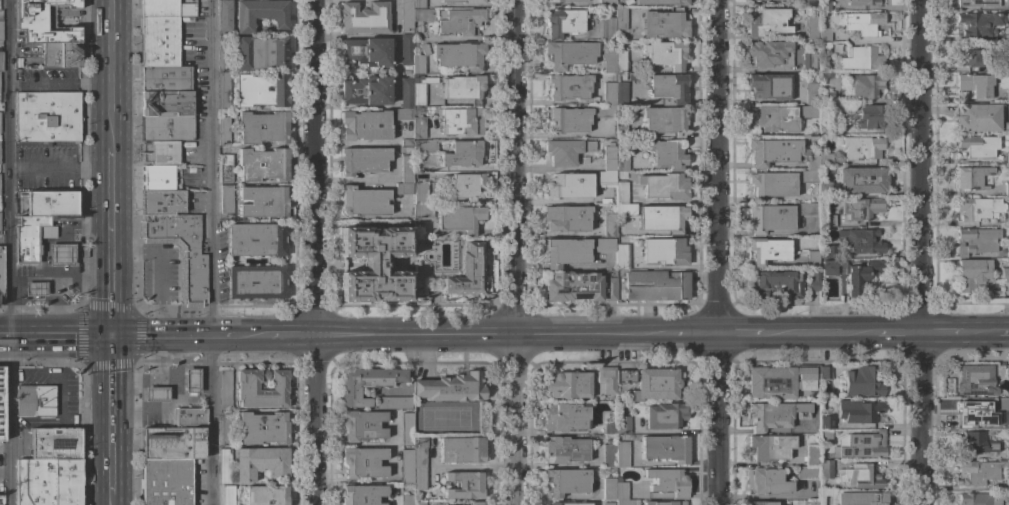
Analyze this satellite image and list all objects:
building: (621, 0)
building: (756, 0)
building: (465, 1)
building: (565, 1)
building: (660, 2)
building: (863, 2)
road: (557, 3)
building: (607, 3)
building: (811, 3)
building: (977, 3)
building: (418, 4)
building: (824, 5)
building: (166, 8)
building: (259, 14)
building: (413, 14)
building: (225, 15)
building: (364, 18)
building: (621, 18)
building: (47, 21)
building: (460, 22)
building: (563, 22)
building: (766, 22)
building: (863, 23)
building: (979, 23)
building: (664, 24)
building: (811, 27)
building: (608, 29)
building: (1, 30)
building: (824, 35)
building: (1008, 35)
building: (159, 41)
building: (79, 42)
building: (825, 48)
building: (405, 49)
building: (365, 52)
building: (260, 53)
building: (224, 54)
building: (568, 54)
building: (665, 54)
building: (769, 54)
building: (61, 55)
building: (968, 55)
building: (458, 56)
building: (823, 58)
building: (861, 59)
building: (420, 60)
building: (1, 61)
building: (614, 61)
building: (808, 62)
road: (109, 70)
building: (165, 78)
road: (59, 83)
building: (976, 85)
building: (770, 86)
building: (862, 86)
building: (463, 87)
building: (568, 87)
building: (669, 87)
building: (261, 90)
building: (365, 90)
building: (223, 91)
building: (406, 92)
building: (622, 93)
building: (811, 93)
building: (418, 94)
building: (828, 96)
building: (1007, 96)
building: (607, 101)
building: (166, 103)
building: (809, 111)
building: (403, 114)
building: (47, 116)
building: (870, 117)
building: (977, 117)
building: (567, 119)
building: (460, 120)
building: (664, 120)
building: (771, 120)
building: (365, 125)
building: (621, 126)
building: (262, 127)
building: (418, 127)
building: (1005, 127)
building: (166, 128)
building: (223, 130)
building: (423, 146)
building: (978, 146)
building: (861, 147)
building: (565, 151)
building: (160, 153)
building: (667, 153)
building: (463, 154)
building: (783, 155)
building: (1007, 157)
building: (825, 159)
building: (363, 160)
building: (621, 163)
building: (262, 165)
road: (59, 166)
road: (313, 167)
building: (607, 167)
road: (716, 167)
building: (225, 168)
building: (405, 176)
building: (972, 177)
building: (158, 178)
building: (861, 179)
road: (367, 180)
building: (985, 180)
building: (568, 185)
building: (771, 185)
building: (465, 186)
building: (664, 186)
building: (1007, 189)
building: (621, 192)
building: (420, 193)
building: (226, 200)
building: (262, 201)
building: (364, 201)
building: (162, 202)
building: (52, 203)
building: (859, 208)
building: (979, 208)
building: (806, 209)
building: (626, 210)
building: (422, 211)
building: (63, 218)
building: (458, 218)
building: (566, 218)
building: (661, 218)
building: (770, 218)
building: (828, 220)
building: (1008, 221)
building: (609, 225)
road: (109, 238)
building: (28, 239)
building: (257, 239)
building: (859, 240)
building: (975, 241)
building: (604, 245)
building: (768, 250)
building: (180, 251)
building: (664, 251)
building: (828, 251)
building: (1007, 251)
road: (11, 252)
road: (213, 252)
road: (517, 252)
building: (566, 252)
road: (920, 252)
building: (60, 254)
building: (622, 256)
building: (812, 259)
building: (373, 264)
building: (831, 267)
building: (468, 272)
building: (974, 274)
building: (1, 275)
building: (861, 275)
building: (813, 281)
building: (256, 282)
building: (775, 282)
building: (655, 285)
building: (572, 286)
building: (34, 288)
building: (610, 289)
road: (822, 333)
road: (895, 333)
road: (949, 333)
road: (993, 333)
road: (688, 334)
road: (745, 334)
road: (54, 335)
traffic signals: (109, 335)
road: (487, 335)
road: (178, 336)
road: (281, 336)
road: (184, 358)
building: (825, 372)
road: (132, 378)
building: (607, 379)
building: (979, 379)
building: (191, 380)
building: (780, 381)
building: (861, 382)
building: (366, 383)
building: (652, 383)
building: (568, 385)
building: (450, 388)
building: (225, 389)
building: (247, 389)
road: (174, 391)
road: (139, 393)
building: (155, 394)
road: (194, 396)
road: (60, 398)
building: (1, 401)
building: (35, 401)
building: (393, 402)
building: (860, 411)
building: (974, 411)
road: (110, 414)
building: (773, 414)
building: (665, 415)
building: (566, 417)
building: (190, 418)
park: (445, 418)
road: (716, 419)
road: (315, 420)
building: (1007, 421)
building: (825, 422)
building: (362, 425)
building: (623, 425)
building: (262, 428)
building: (406, 429)
building: (609, 429)
building: (226, 431)
building: (826, 436)
building: (172, 443)
building: (976, 443)
building: (55, 444)
building: (860, 445)
building: (770, 447)
building: (665, 449)
building: (461, 450)
building: (564, 450)
building: (1007, 453)
building: (616, 455)
building: (812, 456)
building: (259, 462)
building: (363, 462)
building: (419, 463)
building: (224, 466)
building: (407, 466)
road: (6, 469)
building: (826, 470)
building: (978, 472)
building: (807, 473)
building: (860, 476)
building: (166, 481)
building: (667, 481)
building: (767, 481)
building: (48, 482)
building: (566, 482)
building: (1008, 484)
building: (464, 485)
building: (608, 489)
building: (623, 490)
building: (228, 495)
building: (266, 495)
building: (362, 495)
building: (1008, 496)
building: (979, 498)
road: (111, 499)
building: (406, 499)
building: (860, 499)
building: (626, 502)
building: (812, 502)
building: (419, 503)
building: (475, 503)
building: (608, 503)
building: (665, 503)
building: (761, 503)
building: (0, 504)
building: (568, 504)

